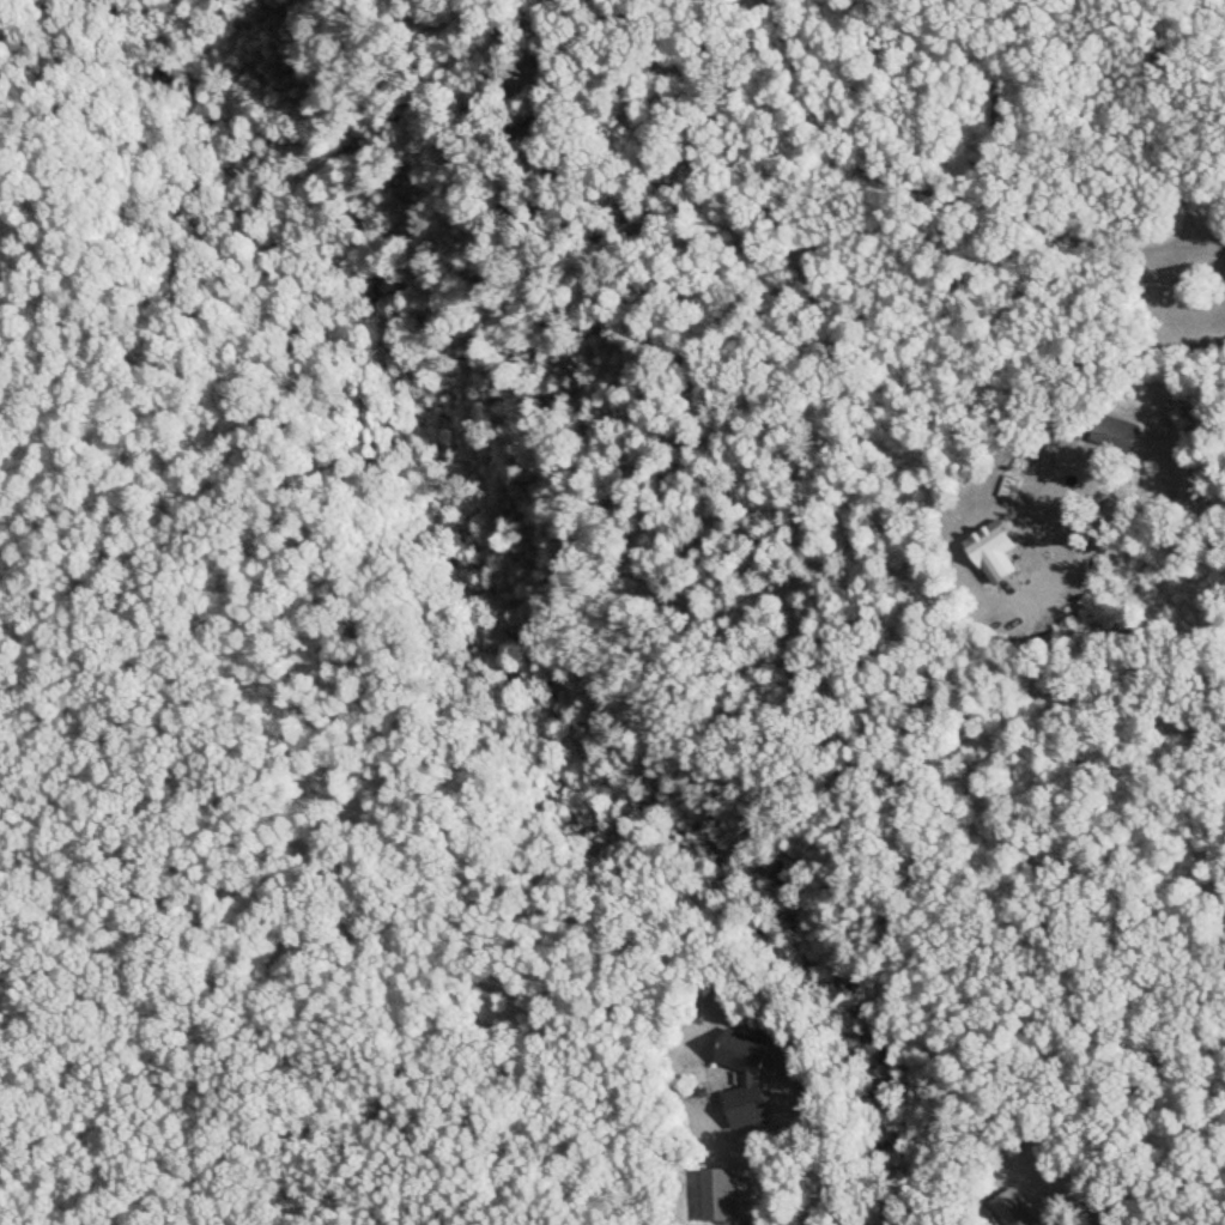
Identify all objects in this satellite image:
road: (974, 120)
road: (851, 328)
road: (1104, 454)
building: (1060, 462)
road: (1122, 517)
building: (734, 1079)
road: (1086, 1187)

